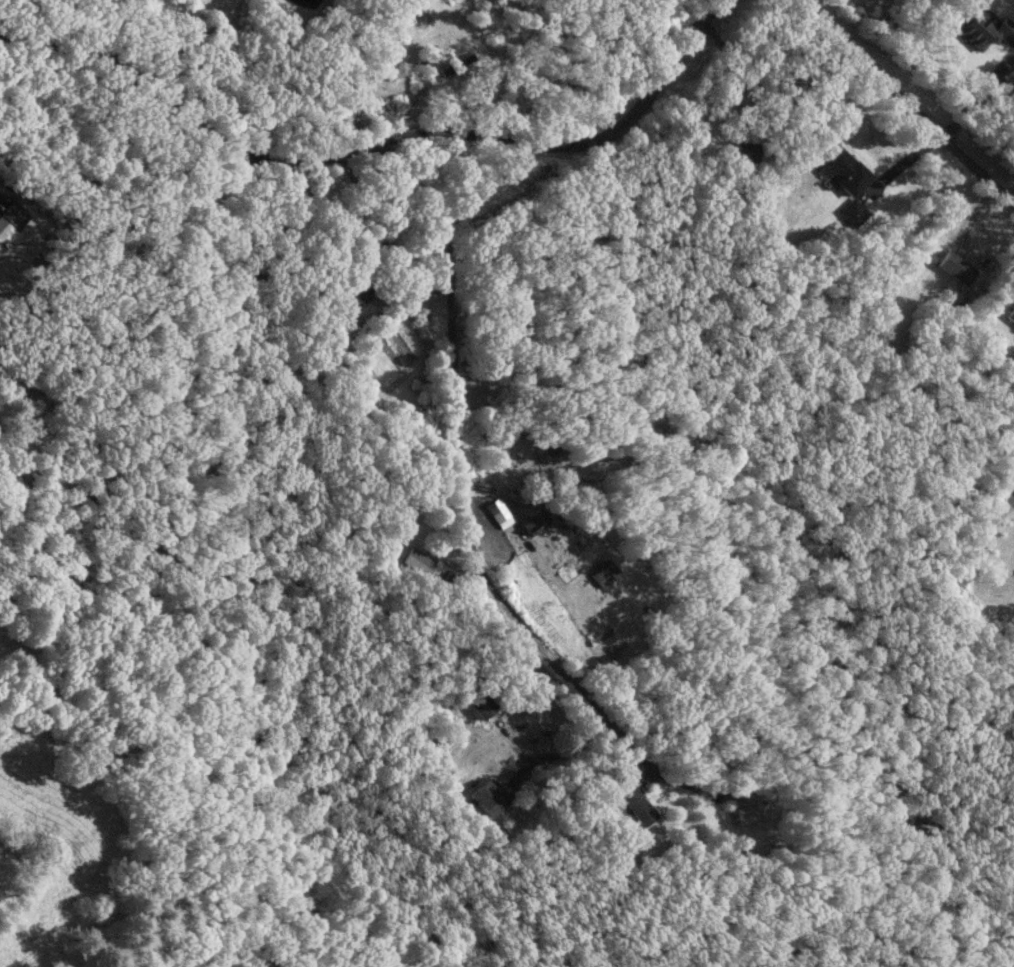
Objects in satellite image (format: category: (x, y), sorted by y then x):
building: (986, 30)
road: (907, 101)
road: (375, 140)
building: (749, 155)
building: (847, 170)
building: (957, 267)
building: (418, 286)
building: (351, 293)
building: (1012, 315)
road: (459, 508)
building: (536, 523)
road: (985, 524)
building: (418, 561)
building: (605, 573)
building: (484, 706)
building: (492, 797)
building: (637, 803)
building: (746, 809)

